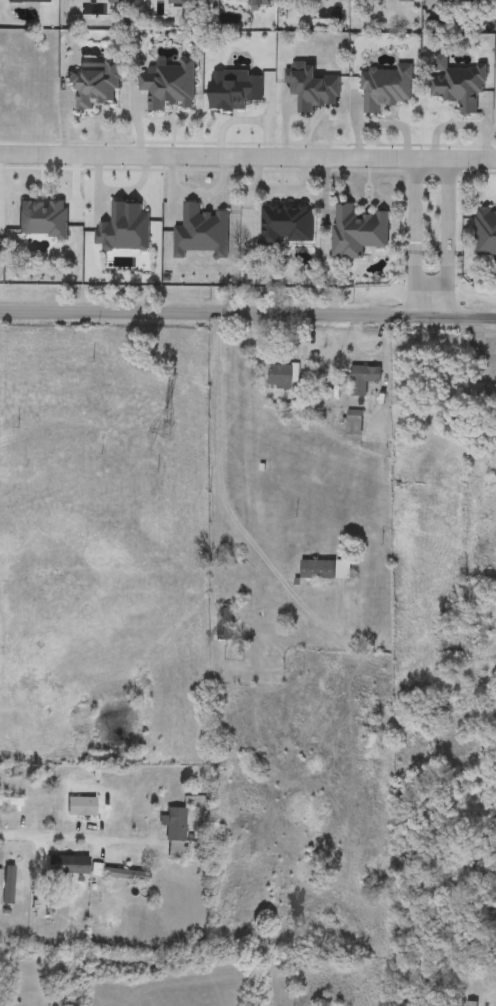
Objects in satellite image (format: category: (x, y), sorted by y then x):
building: (406, 1)
building: (95, 83)
building: (170, 86)
building: (460, 86)
building: (387, 88)
building: (312, 89)
road: (248, 157)
road: (279, 187)
road: (450, 204)
road: (418, 205)
building: (357, 231)
building: (485, 233)
road: (449, 282)
road: (418, 283)
road: (248, 313)
building: (284, 376)
building: (364, 378)
building: (483, 394)
power tower: (165, 428)
road: (220, 494)
building: (326, 570)
building: (474, 594)
building: (225, 622)
building: (442, 712)
building: (373, 741)
building: (11, 803)
building: (81, 807)
building: (175, 834)
road: (83, 838)
building: (68, 865)
building: (12, 867)
building: (491, 904)
building: (468, 1005)

